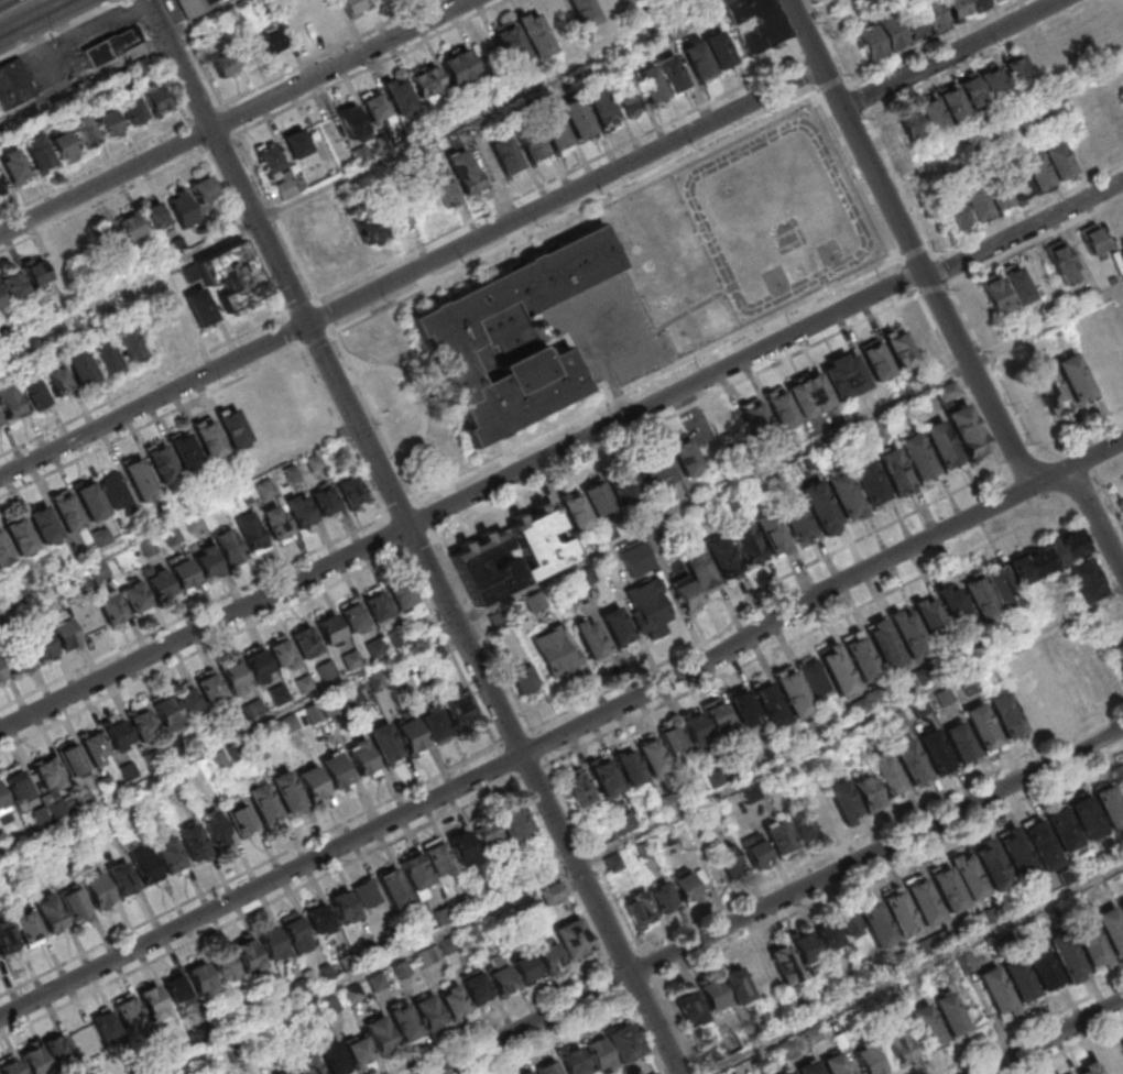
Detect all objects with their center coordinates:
building: (626, 0)
building: (995, 0)
building: (195, 6)
building: (353, 7)
building: (962, 7)
road: (18, 9)
road: (821, 11)
building: (582, 12)
building: (934, 18)
building: (752, 23)
building: (913, 26)
road: (59, 30)
building: (534, 32)
building: (880, 37)
building: (118, 41)
building: (510, 41)
road: (830, 43)
building: (266, 44)
road: (197, 53)
road: (330, 53)
road: (951, 54)
building: (708, 55)
road: (119, 59)
road: (159, 61)
building: (223, 64)
building: (458, 66)
road: (810, 75)
building: (661, 79)
building: (426, 81)
building: (1023, 81)
building: (13, 83)
road: (833, 85)
building: (999, 92)
building: (154, 96)
building: (400, 97)
building: (626, 97)
building: (374, 106)
building: (601, 106)
building: (131, 109)
building: (958, 113)
road: (237, 117)
building: (577, 118)
road: (231, 119)
building: (351, 120)
building: (107, 121)
building: (937, 123)
building: (84, 131)
building: (555, 132)
road: (197, 135)
building: (383, 142)
building: (296, 143)
road: (667, 143)
building: (532, 144)
building: (64, 146)
building: (37, 152)
building: (505, 156)
building: (270, 158)
road: (231, 160)
building: (14, 166)
building: (1062, 168)
building: (465, 172)
road: (351, 175)
road: (860, 175)
building: (1, 186)
building: (288, 187)
building: (441, 187)
building: (203, 189)
building: (986, 199)
building: (182, 209)
road: (577, 212)
road: (279, 215)
building: (155, 217)
building: (396, 218)
building: (129, 226)
building: (371, 229)
road: (246, 232)
building: (320, 232)
building: (107, 238)
building: (1092, 238)
road: (908, 244)
building: (176, 245)
building: (1061, 261)
building: (37, 271)
road: (412, 272)
building: (233, 275)
building: (13, 284)
building: (1016, 284)
building: (995, 294)
building: (1, 303)
building: (199, 307)
road: (327, 315)
road: (293, 331)
building: (515, 336)
building: (922, 337)
building: (129, 343)
building: (900, 349)
building: (105, 355)
building: (875, 361)
building: (79, 364)
building: (939, 366)
road: (217, 368)
building: (1075, 375)
building: (56, 379)
road: (659, 380)
building: (1050, 388)
building: (816, 390)
building: (33, 393)
road: (418, 393)
building: (947, 393)
building: (9, 399)
road: (377, 416)
building: (754, 419)
building: (0, 425)
road: (358, 425)
building: (233, 427)
building: (968, 429)
road: (1079, 430)
road: (344, 432)
building: (209, 439)
building: (944, 442)
road: (63, 445)
building: (185, 450)
building: (696, 450)
road: (559, 451)
building: (918, 454)
building: (161, 462)
building: (656, 472)
building: (894, 472)
building: (140, 479)
building: (871, 479)
building: (115, 490)
building: (625, 490)
road: (1097, 490)
building: (351, 491)
building: (846, 491)
building: (90, 498)
building: (1122, 500)
building: (820, 501)
building: (326, 503)
building: (587, 505)
road: (1113, 505)
road: (402, 508)
building: (66, 509)
building: (301, 511)
road: (427, 517)
road: (1098, 518)
building: (797, 522)
building: (193, 523)
building: (43, 524)
building: (276, 524)
building: (252, 533)
road: (393, 533)
building: (772, 535)
building: (20, 536)
building: (542, 545)
building: (746, 545)
building: (229, 546)
building: (3, 551)
building: (1048, 554)
building: (722, 557)
building: (207, 561)
building: (488, 571)
road: (560, 571)
building: (183, 574)
building: (1084, 578)
building: (694, 580)
building: (159, 584)
building: (1001, 587)
road: (759, 591)
building: (401, 593)
building: (980, 596)
building: (135, 598)
building: (377, 605)
building: (648, 606)
building: (956, 609)
building: (112, 610)
building: (353, 616)
building: (87, 620)
building: (934, 620)
building: (329, 627)
building: (617, 627)
building: (909, 632)
building: (64, 634)
building: (591, 639)
building: (886, 643)
building: (41, 646)
building: (375, 647)
building: (294, 648)
road: (449, 648)
building: (1119, 653)
building: (556, 654)
building: (862, 656)
building: (18, 658)
building: (351, 659)
building: (258, 667)
building: (839, 668)
building: (327, 670)
building: (926, 673)
building: (1, 676)
building: (815, 678)
building: (235, 679)
building: (523, 681)
building: (305, 683)
building: (898, 686)
building: (210, 688)
building: (352, 692)
building: (794, 692)
building: (279, 695)
building: (879, 695)
building: (1054, 695)
building: (768, 703)
building: (742, 705)
building: (458, 706)
building: (862, 706)
building: (177, 709)
building: (320, 710)
building: (1005, 713)
building: (705, 722)
building: (829, 722)
building: (435, 723)
building: (981, 724)
building: (806, 733)
building: (411, 734)
road: (564, 735)
building: (118, 739)
building: (673, 739)
building: (383, 741)
building: (961, 742)
building: (935, 749)
building: (652, 754)
building: (362, 757)
building: (70, 758)
building: (912, 760)
road: (508, 764)
building: (629, 768)
building: (335, 769)
road: (534, 770)
building: (48, 775)
building: (887, 776)
building: (606, 777)
building: (313, 780)
building: (18, 786)
building: (577, 788)
building: (287, 790)
building: (869, 790)
building: (751, 793)
road: (545, 799)
building: (3, 802)
building: (264, 802)
building: (842, 802)
building: (668, 803)
building: (1110, 804)
building: (240, 817)
building: (1088, 817)
building: (513, 824)
building: (800, 825)
building: (215, 829)
building: (611, 829)
building: (1064, 829)
road: (641, 831)
building: (488, 836)
building: (778, 837)
building: (192, 842)
building: (1040, 843)
building: (462, 847)
building: (1015, 851)
building: (755, 852)
building: (168, 854)
building: (438, 857)
building: (729, 863)
building: (991, 863)
building: (144, 864)
building: (612, 864)
building: (416, 870)
road: (249, 872)
road: (561, 873)
building: (968, 876)
building: (122, 878)
building: (393, 888)
building: (948, 888)
building: (97, 889)
building: (685, 889)
building: (366, 892)
building: (554, 892)
road: (778, 900)
building: (923, 901)
building: (648, 903)
building: (74, 905)
building: (344, 905)
building: (1121, 905)
building: (901, 912)
building: (50, 913)
building: (993, 913)
building: (443, 916)
building: (319, 918)
building: (498, 921)
building: (877, 924)
building: (970, 924)
building: (26, 927)
building: (1111, 928)
building: (296, 932)
building: (829, 934)
building: (472, 935)
building: (6, 936)
building: (1089, 940)
building: (939, 941)
building: (273, 942)
building: (449, 945)
building: (806, 947)
building: (923, 947)
building: (1066, 955)
building: (427, 958)
building: (237, 961)
building: (348, 963)
building: (966, 964)
building: (783, 965)
building: (1043, 966)
building: (402, 969)
road: (918, 971)
building: (1018, 978)
building: (200, 979)
building: (378, 983)
road: (614, 983)
building: (738, 985)
building: (176, 988)
building: (477, 988)
building: (996, 989)
building: (356, 995)
building: (715, 995)
building: (453, 1000)
building: (152, 1002)
building: (331, 1006)
building: (690, 1008)
building: (428, 1010)
building: (128, 1011)
building: (951, 1015)
building: (403, 1019)
building: (105, 1023)
building: (928, 1026)
road: (1029, 1027)
road: (682, 1029)
building: (380, 1031)
building: (81, 1038)
road: (641, 1038)
road: (1050, 1038)
building: (625, 1042)
building: (1122, 1043)
building: (731, 1044)
building: (791, 1045)
building: (902, 1045)
road: (1069, 1046)
building: (57, 1049)
building: (360, 1052)
building: (599, 1052)
building: (332, 1056)
building: (34, 1060)
building: (870, 1060)
building: (574, 1062)
building: (837, 1063)
building: (9, 1065)
building: (309, 1066)
building: (810, 1067)
building: (1090, 1068)
building: (288, 1072)
building: (791, 1072)
building: (1068, 1072)
building: (528, 1073)

